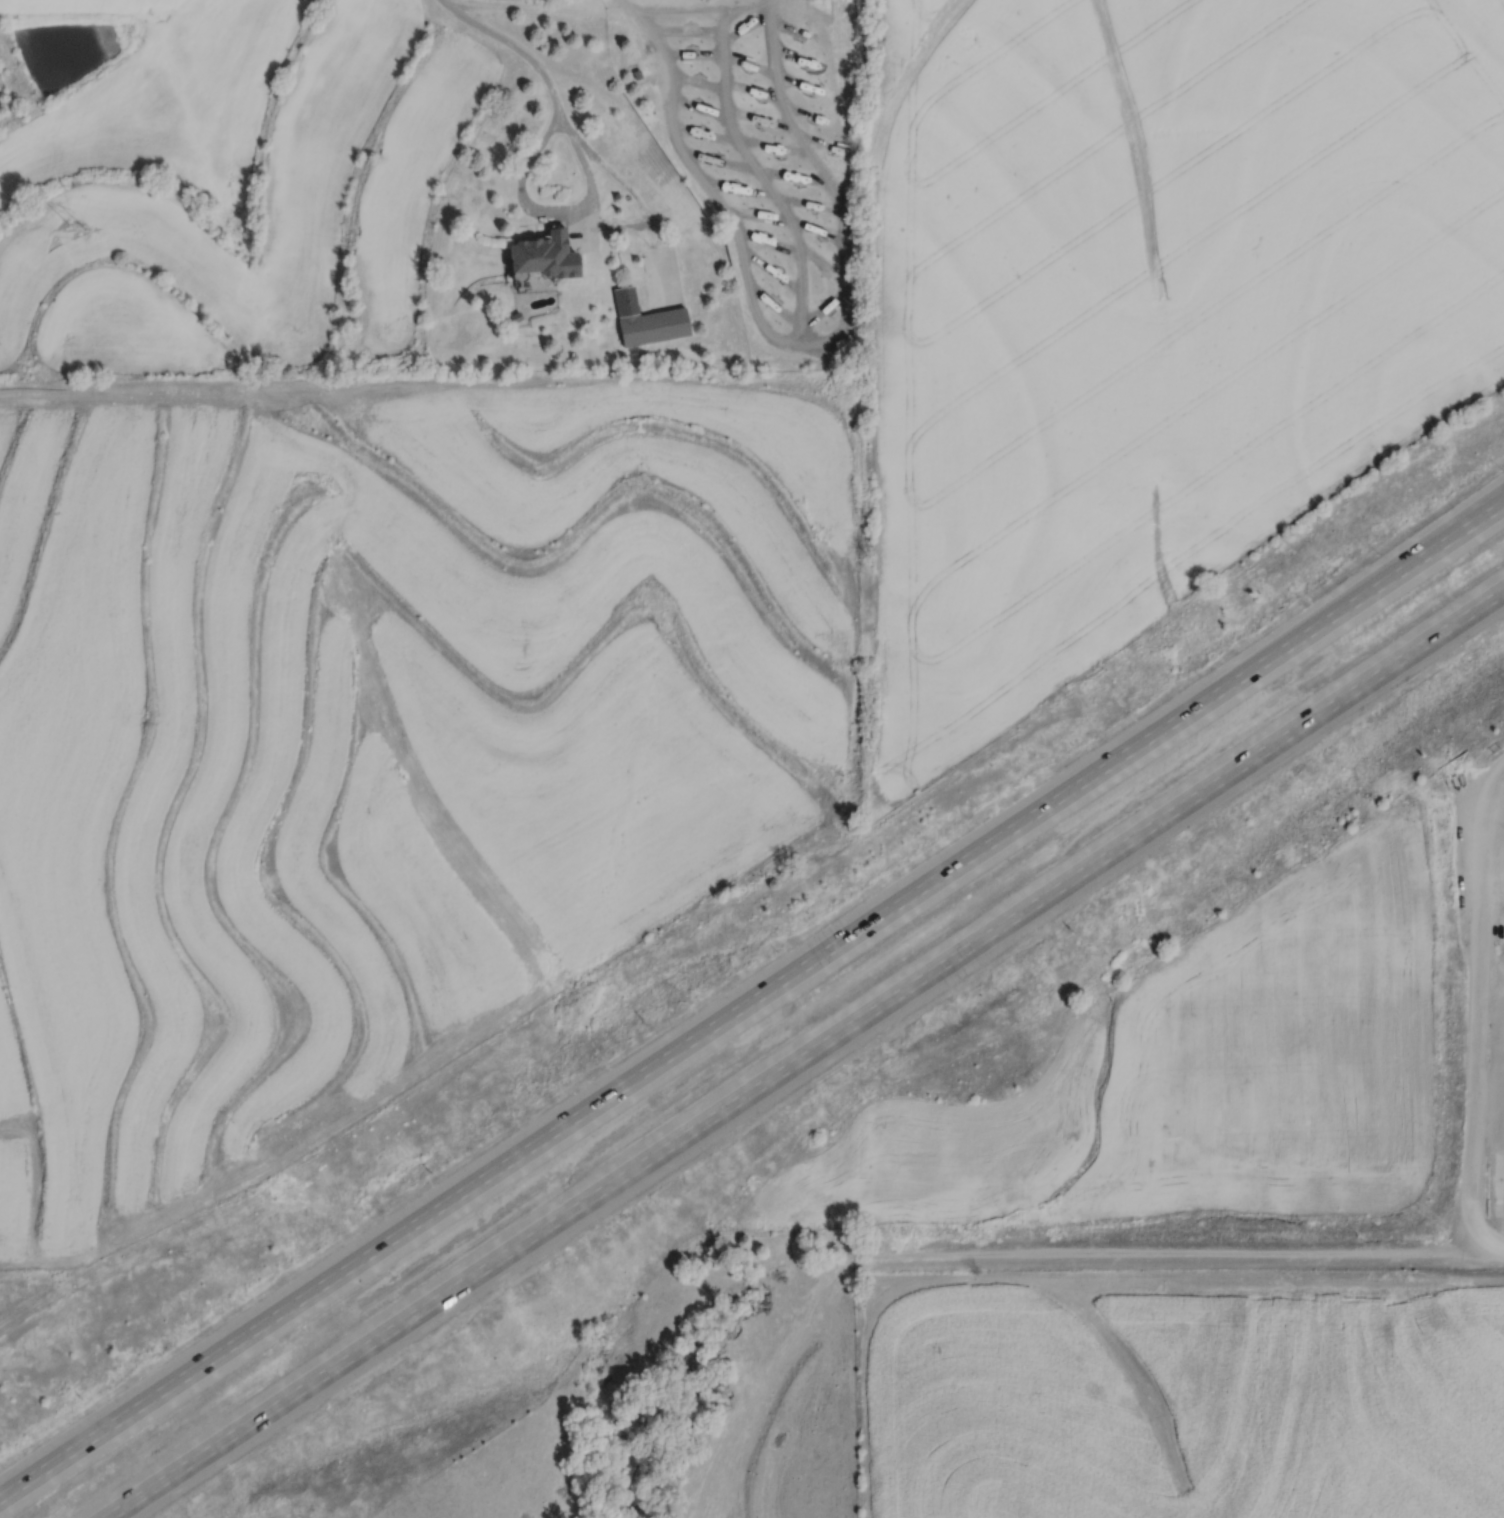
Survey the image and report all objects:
road: (514, 50)
road: (590, 204)
power tower: (81, 234)
building: (543, 256)
building: (647, 321)
road: (1463, 527)
road: (751, 999)
road: (1491, 1011)
road: (805, 1055)
road: (1197, 1254)

